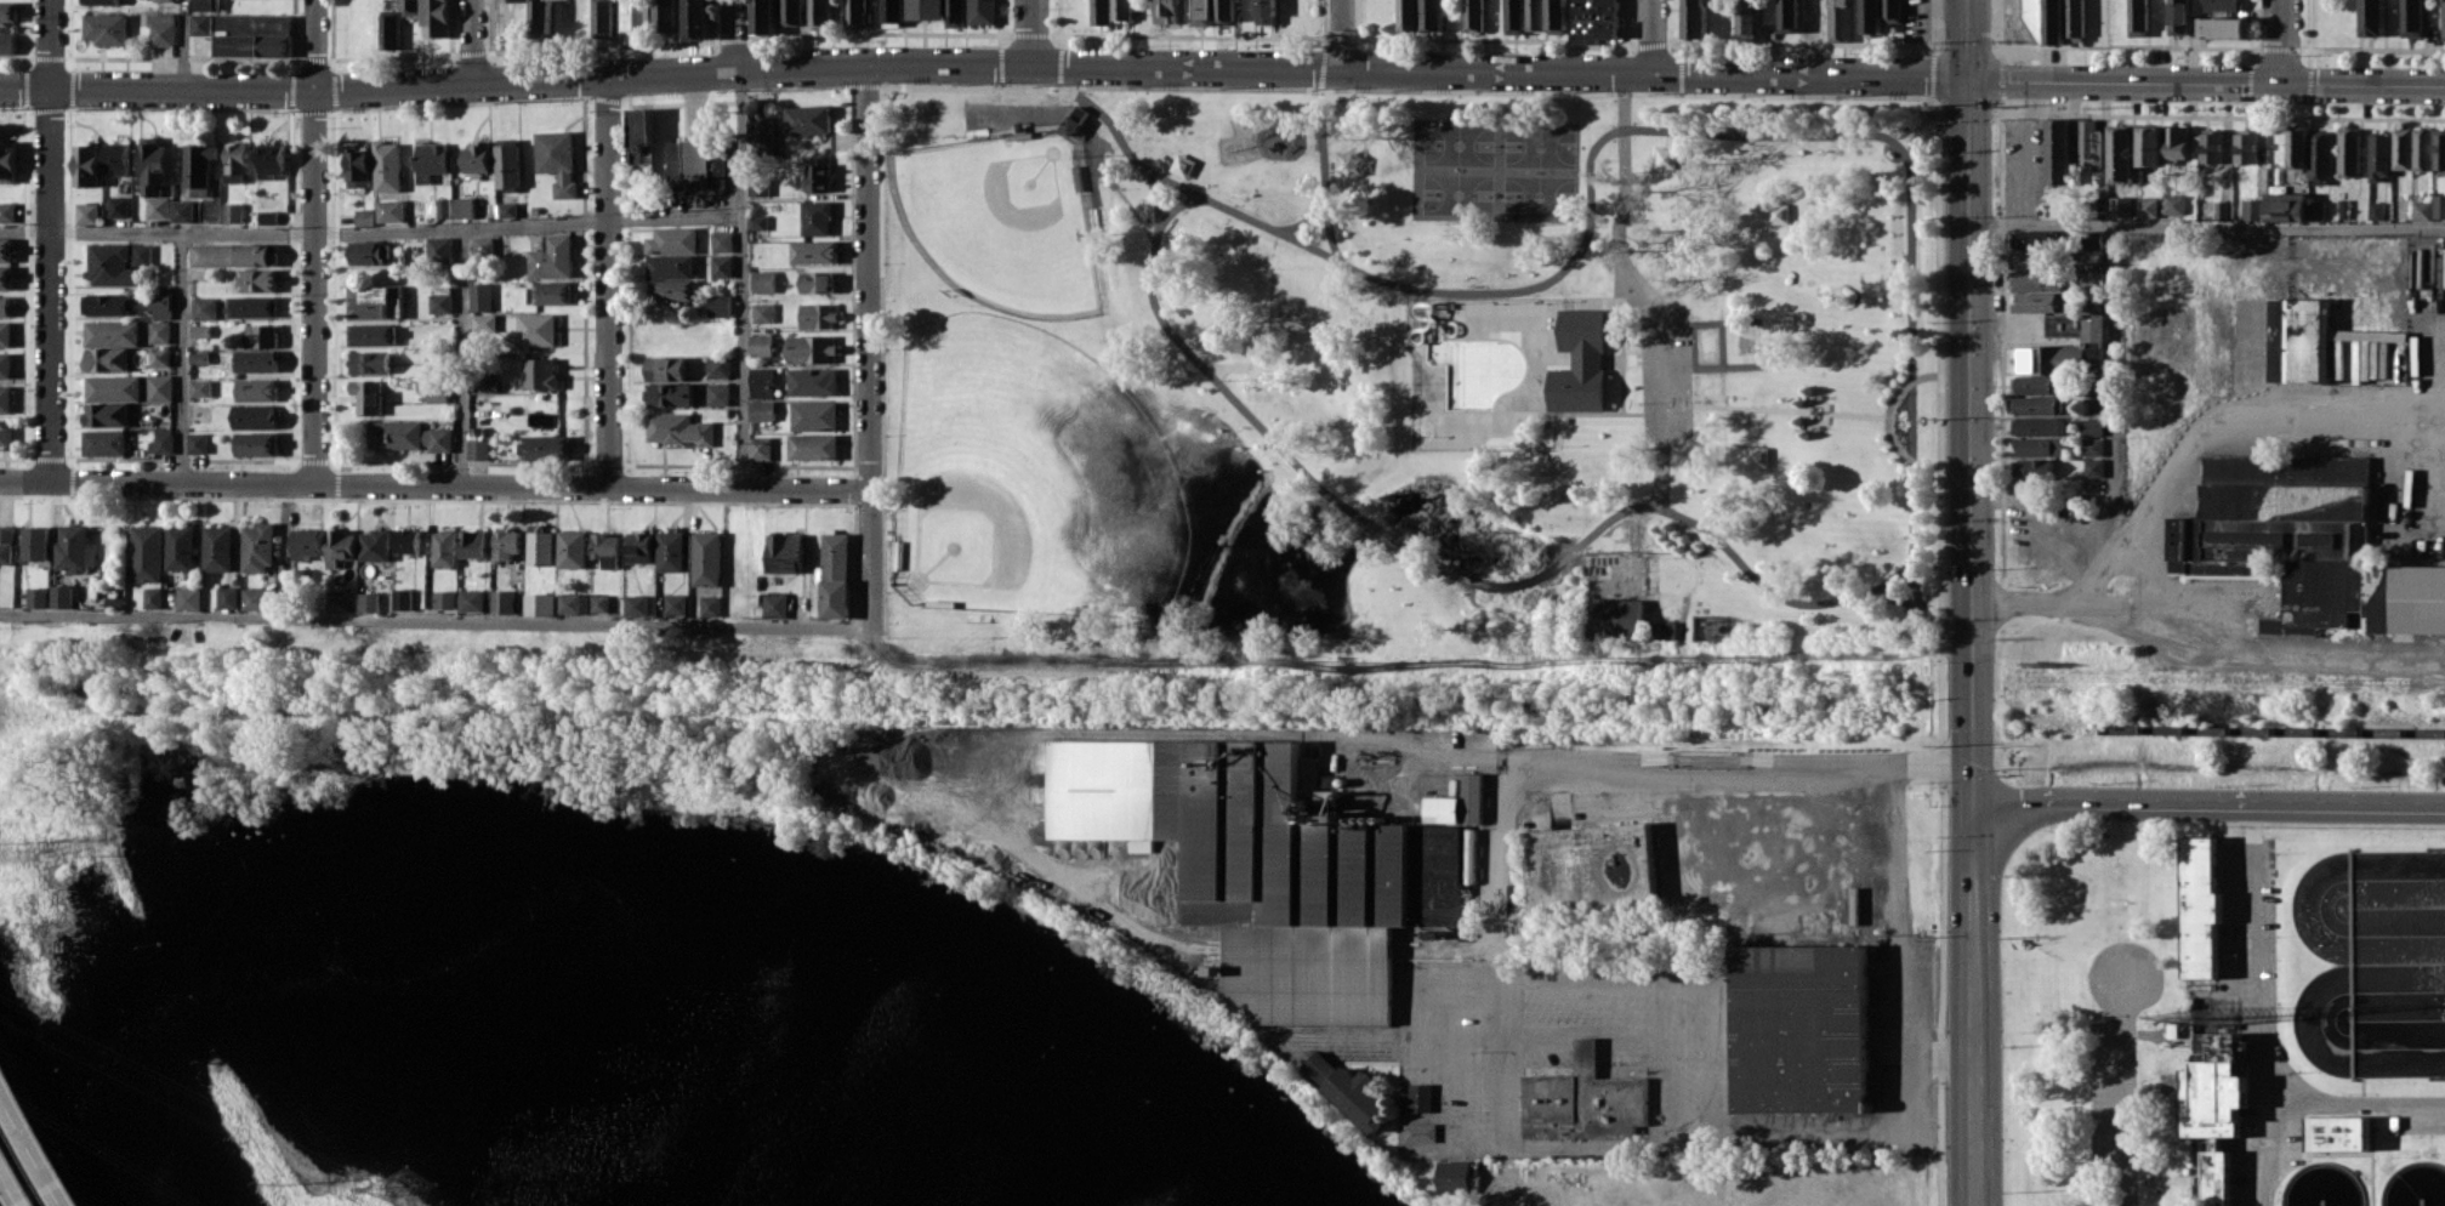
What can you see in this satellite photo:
building: (159, 0)
building: (516, 0)
building: (96, 1)
building: (203, 5)
building: (2221, 5)
building: (409, 7)
building: (926, 8)
building: (1204, 8)
building: (891, 10)
building: (1120, 10)
building: (1223, 10)
building: (6, 11)
building: (980, 11)
building: (1165, 11)
building: (1264, 11)
building: (1890, 11)
building: (790, 12)
building: (954, 12)
building: (1099, 12)
building: (820, 13)
building: (855, 13)
building: (635, 15)
building: (663, 15)
building: (1432, 15)
building: (1534, 15)
building: (1410, 16)
building: (1473, 16)
building: (1513, 16)
building: (1556, 16)
building: (1787, 16)
building: (1870, 16)
building: (433, 17)
building: (763, 17)
building: (2137, 17)
building: (2178, 17)
building: (2372, 17)
building: (601, 18)
building: (695, 18)
building: (1693, 18)
building: (2035, 18)
building: (2411, 18)
building: (539, 19)
building: (1593, 19)
building: (2074, 19)
building: (2443, 19)
building: (1838, 21)
building: (1747, 22)
building: (2053, 22)
building: (198, 23)
building: (2223, 27)
building: (101, 28)
building: (159, 29)
building: (387, 32)
road: (1031, 33)
road: (729, 35)
road: (1337, 35)
road: (1648, 36)
building: (249, 40)
road: (467, 41)
road: (2279, 41)
building: (5, 44)
road: (181, 44)
road: (314, 45)
road: (1501, 72)
road: (672, 73)
traffic signals: (1972, 79)
road: (2208, 81)
road: (157, 87)
building: (807, 119)
building: (1074, 119)
road: (1825, 127)
building: (760, 131)
building: (641, 136)
building: (2177, 142)
building: (2149, 144)
building: (2211, 146)
building: (2245, 146)
building: (2401, 148)
building: (2422, 148)
building: (2439, 148)
road: (2025, 149)
building: (2058, 150)
building: (2312, 152)
building: (2348, 152)
building: (2121, 153)
building: (113, 157)
building: (476, 157)
building: (2379, 157)
building: (430, 158)
building: (6, 160)
building: (268, 160)
building: (556, 160)
building: (233, 163)
building: (506, 163)
building: (695, 163)
building: (84, 165)
building: (149, 165)
building: (197, 165)
building: (356, 166)
building: (385, 166)
road: (1323, 169)
park: (1452, 169)
park: (1535, 170)
building: (818, 177)
building: (758, 186)
building: (2174, 204)
building: (115, 206)
building: (155, 206)
building: (462, 206)
building: (2120, 206)
building: (2147, 206)
building: (2286, 206)
building: (442, 207)
building: (2438, 207)
building: (506, 209)
building: (2252, 209)
building: (2315, 209)
building: (2422, 209)
building: (180, 210)
building: (388, 210)
building: (2221, 210)
building: (2376, 210)
building: (6, 211)
building: (84, 212)
building: (231, 212)
building: (265, 216)
building: (363, 216)
building: (817, 217)
road: (2208, 220)
park: (1002, 221)
building: (757, 222)
road: (1327, 226)
road: (1267, 227)
road: (370, 229)
building: (2030, 239)
road: (50, 240)
building: (672, 240)
building: (2092, 240)
building: (722, 241)
building: (482, 245)
building: (438, 249)
building: (4, 250)
building: (814, 251)
building: (366, 252)
building: (140, 255)
building: (209, 255)
building: (256, 256)
building: (552, 257)
building: (2032, 260)
building: (109, 266)
building: (670, 266)
building: (722, 266)
building: (5, 277)
building: (256, 279)
road: (741, 279)
building: (763, 280)
building: (817, 280)
building: (2091, 280)
building: (2035, 281)
road: (602, 283)
road: (1634, 286)
road: (313, 288)
building: (672, 290)
building: (553, 292)
building: (479, 296)
building: (439, 300)
building: (159, 301)
building: (374, 301)
building: (2035, 301)
building: (104, 303)
building: (720, 305)
building: (4, 306)
building: (251, 306)
building: (201, 307)
building: (763, 312)
building: (819, 314)
building: (483, 322)
building: (2064, 324)
building: (536, 329)
building: (199, 330)
building: (158, 331)
building: (110, 332)
building: (5, 334)
building: (370, 334)
building: (261, 335)
building: (2296, 337)
road: (870, 341)
building: (761, 345)
building: (812, 348)
park: (1422, 348)
building: (2079, 349)
building: (158, 357)
road: (180, 357)
road: (460, 358)
building: (106, 359)
building: (2030, 359)
road: (2113, 359)
building: (255, 360)
building: (368, 362)
building: (1576, 362)
building: (5, 364)
building: (718, 366)
building: (666, 368)
parking lot: (1666, 369)
building: (541, 372)
building: (813, 381)
building: (762, 382)
building: (2036, 385)
building: (112, 387)
building: (158, 387)
building: (199, 388)
building: (250, 389)
building: (433, 389)
building: (718, 393)
building: (670, 394)
building: (366, 396)
building: (5, 398)
building: (2036, 405)
building: (2094, 405)
building: (762, 410)
building: (109, 413)
road: (1833, 413)
building: (814, 415)
building: (254, 416)
road: (1813, 420)
building: (2036, 426)
building: (2091, 426)
building: (680, 428)
building: (4, 433)
building: (408, 436)
building: (103, 442)
building: (160, 442)
building: (195, 442)
building: (256, 443)
building: (2039, 445)
building: (2092, 445)
building: (546, 446)
building: (813, 446)
building: (760, 448)
building: (477, 449)
road: (2178, 459)
road: (1918, 461)
building: (2032, 467)
building: (2093, 467)
park: (1020, 474)
road: (436, 485)
road: (2043, 496)
building: (406, 540)
building: (35, 542)
building: (6, 544)
building: (308, 544)
building: (474, 544)
building: (2302, 544)
building: (375, 545)
building: (506, 545)
building: (540, 545)
building: (341, 546)
building: (641, 546)
building: (75, 547)
building: (181, 547)
building: (218, 547)
building: (257, 547)
building: (444, 547)
building: (573, 548)
building: (607, 548)
building: (670, 550)
road: (1408, 551)
road: (284, 552)
building: (785, 552)
building: (147, 553)
building: (707, 558)
building: (62, 596)
building: (38, 597)
building: (153, 597)
building: (228, 597)
building: (189, 598)
building: (255, 598)
building: (402, 598)
building: (445, 599)
building: (471, 599)
building: (339, 601)
building: (504, 601)
building: (369, 602)
building: (574, 603)
building: (599, 603)
road: (1975, 603)
building: (539, 604)
building: (638, 604)
building: (676, 604)
building: (775, 604)
building: (711, 605)
building: (1615, 615)
road: (436, 619)
building: (1658, 628)
road: (1422, 638)
road: (2263, 652)
railway: (2230, 729)
road: (1451, 755)
road: (1684, 778)
traffic signals: (1977, 801)
road: (2211, 802)
road: (67, 825)
river: (689, 859)
building: (1592, 861)
building: (1262, 863)
building: (2197, 909)
road: (1665, 983)
wastewater plant: (2212, 985)
road: (2145, 991)
road: (2256, 1019)
building: (1796, 1030)
road: (1392, 1037)
road: (1945, 1051)
road: (1914, 1062)
building: (1315, 1065)
building: (2210, 1085)
building: (1582, 1094)
building: (1418, 1096)
building: (1351, 1097)
road: (2350, 1104)
road: (2120, 1105)
parking lot: (2104, 1113)
building: (2337, 1131)
building: (1418, 1132)
road: (38, 1133)
road: (2370, 1155)
building: (2210, 1171)
road: (18, 1172)
building: (1450, 1174)
road: (1517, 1178)
road: (2160, 1178)
power tower: (410, 1184)

